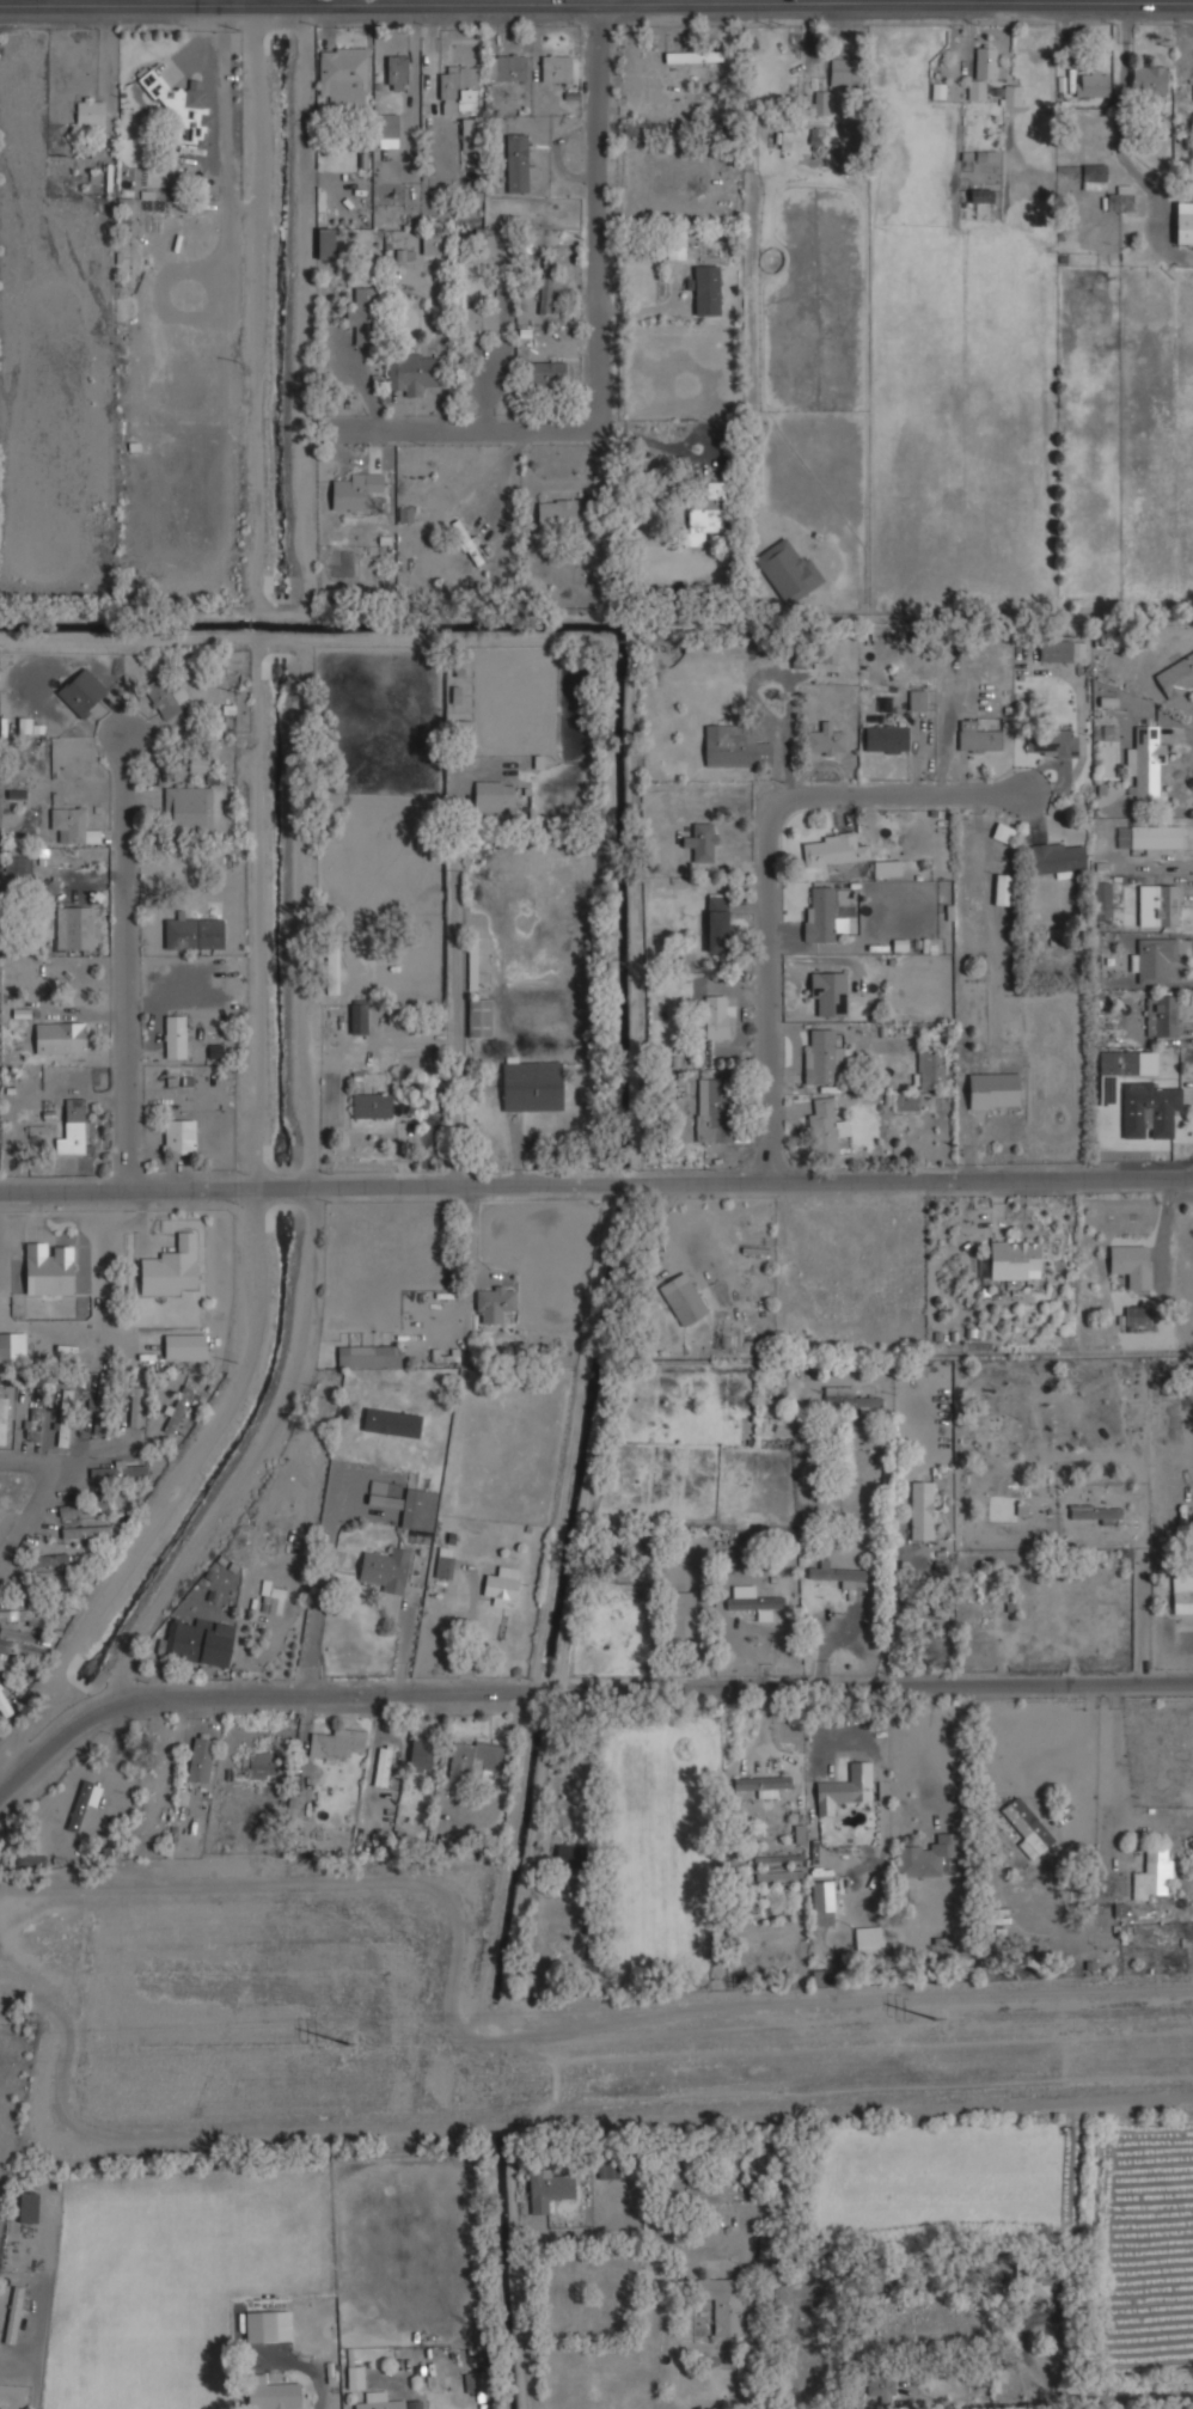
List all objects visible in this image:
road: (632, 2)
road: (714, 2)
road: (595, 6)
building: (690, 56)
building: (504, 66)
building: (555, 67)
building: (980, 68)
building: (396, 72)
building: (844, 72)
building: (342, 75)
building: (1149, 79)
building: (1091, 82)
building: (458, 87)
building: (1010, 94)
building: (819, 103)
building: (181, 105)
building: (88, 111)
building: (642, 129)
building: (386, 130)
building: (816, 135)
building: (783, 139)
building: (986, 155)
building: (516, 163)
building: (1094, 176)
building: (1120, 198)
building: (1183, 228)
building: (434, 241)
building: (324, 243)
building: (544, 286)
building: (705, 288)
road: (262, 294)
building: (362, 314)
building: (478, 319)
road: (611, 356)
building: (410, 372)
building: (546, 372)
building: (354, 490)
building: (706, 509)
building: (559, 513)
building: (465, 542)
building: (785, 569)
building: (714, 647)
building: (1054, 650)
building: (1175, 675)
building: (79, 691)
building: (161, 696)
building: (916, 699)
building: (29, 726)
building: (977, 735)
building: (886, 739)
building: (825, 740)
building: (1051, 742)
building: (733, 746)
building: (1145, 762)
building: (493, 796)
building: (189, 809)
building: (72, 825)
building: (1002, 832)
building: (1149, 837)
building: (700, 842)
building: (832, 849)
building: (1057, 857)
building: (16, 858)
road: (773, 862)
building: (886, 867)
building: (1002, 888)
building: (1102, 900)
building: (1158, 904)
building: (819, 913)
building: (716, 922)
building: (73, 927)
building: (196, 929)
building: (1151, 959)
road: (128, 966)
building: (331, 970)
building: (827, 991)
building: (357, 1016)
building: (714, 1016)
building: (478, 1017)
building: (1163, 1017)
building: (60, 1037)
building: (173, 1037)
building: (822, 1056)
building: (1118, 1063)
building: (929, 1070)
building: (531, 1086)
building: (675, 1089)
building: (992, 1090)
building: (371, 1105)
building: (1150, 1107)
building: (712, 1111)
building: (824, 1126)
building: (72, 1130)
building: (178, 1136)
road: (595, 1191)
building: (1011, 1260)
building: (1131, 1264)
building: (49, 1267)
building: (171, 1267)
building: (681, 1298)
building: (493, 1303)
building: (1136, 1315)
building: (183, 1345)
building: (12, 1346)
building: (367, 1356)
building: (846, 1399)
building: (135, 1406)
building: (99, 1407)
building: (176, 1410)
building: (62, 1417)
building: (1, 1419)
building: (31, 1424)
building: (121, 1469)
road: (37, 1498)
building: (103, 1502)
building: (68, 1503)
building: (405, 1505)
building: (920, 1510)
building: (1094, 1514)
building: (85, 1531)
building: (45, 1560)
building: (441, 1565)
building: (385, 1570)
building: (844, 1577)
building: (30, 1584)
building: (501, 1585)
building: (1182, 1594)
building: (751, 1601)
building: (274, 1602)
building: (681, 1614)
building: (25, 1615)
building: (196, 1641)
building: (22, 1647)
road: (582, 1693)
building: (4, 1705)
building: (336, 1742)
road: (1089, 1753)
building: (420, 1755)
road: (1116, 1755)
road: (926, 1756)
building: (200, 1759)
building: (475, 1761)
building: (261, 1765)
building: (383, 1766)
building: (763, 1785)
building: (845, 1789)
building: (78, 1805)
building: (292, 1805)
building: (1027, 1827)
building: (569, 1855)
building: (925, 1855)
building: (30, 1859)
building: (1152, 1872)
building: (779, 1875)
building: (822, 1902)
building: (869, 1943)
power tower: (940, 2019)
power tower: (348, 2044)
building: (607, 2171)
building: (547, 2188)
building: (697, 2188)
building: (27, 2207)
road: (555, 2240)
building: (764, 2246)
building: (1041, 2282)
building: (724, 2304)
building: (12, 2315)
building: (259, 2327)
building: (354, 2377)
building: (877, 2391)
building: (270, 2393)
building: (378, 2401)
building: (414, 2404)
road: (1137, 2404)

